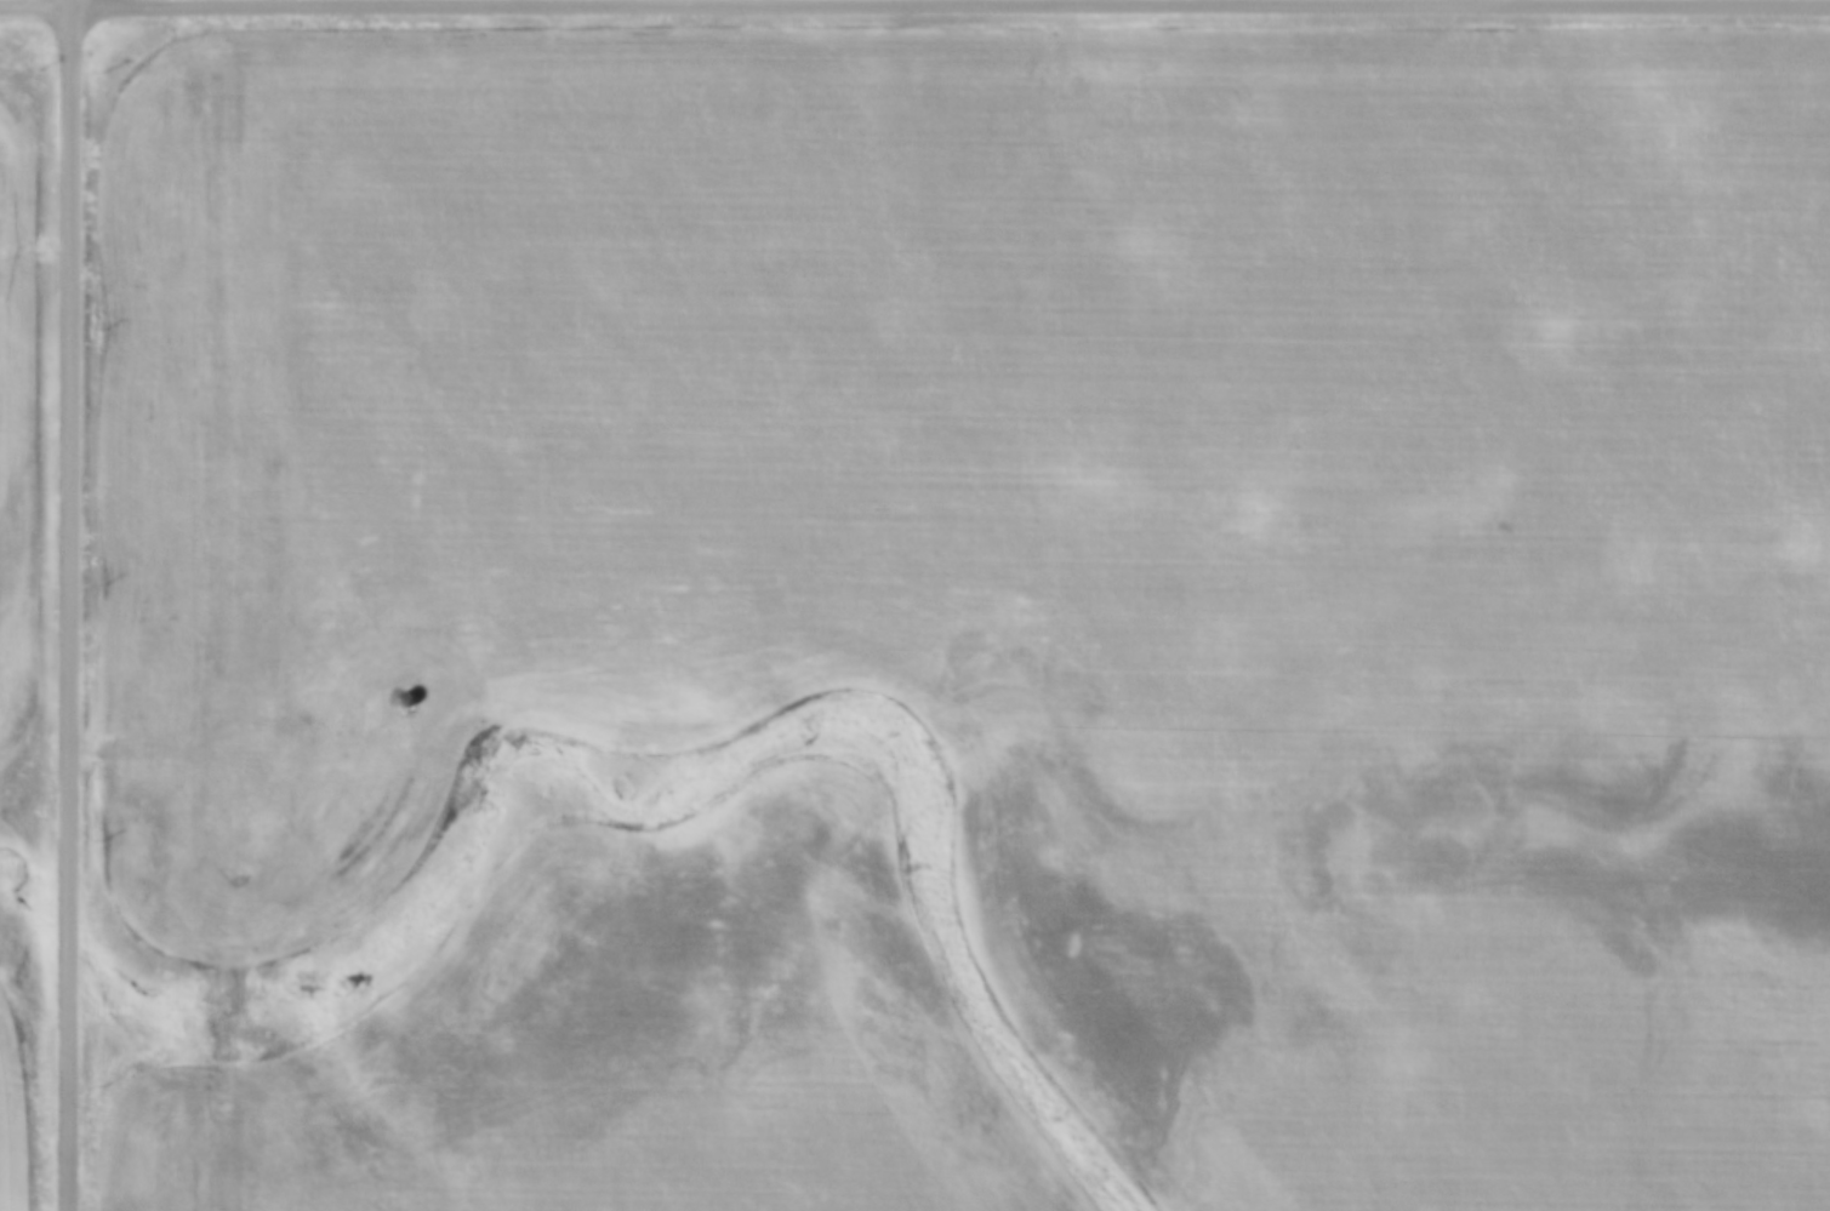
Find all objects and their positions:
road: (38, 4)
road: (952, 4)
road: (73, 605)
building: (400, 689)
silo: (400, 689)
building: (406, 701)
road: (211, 736)

